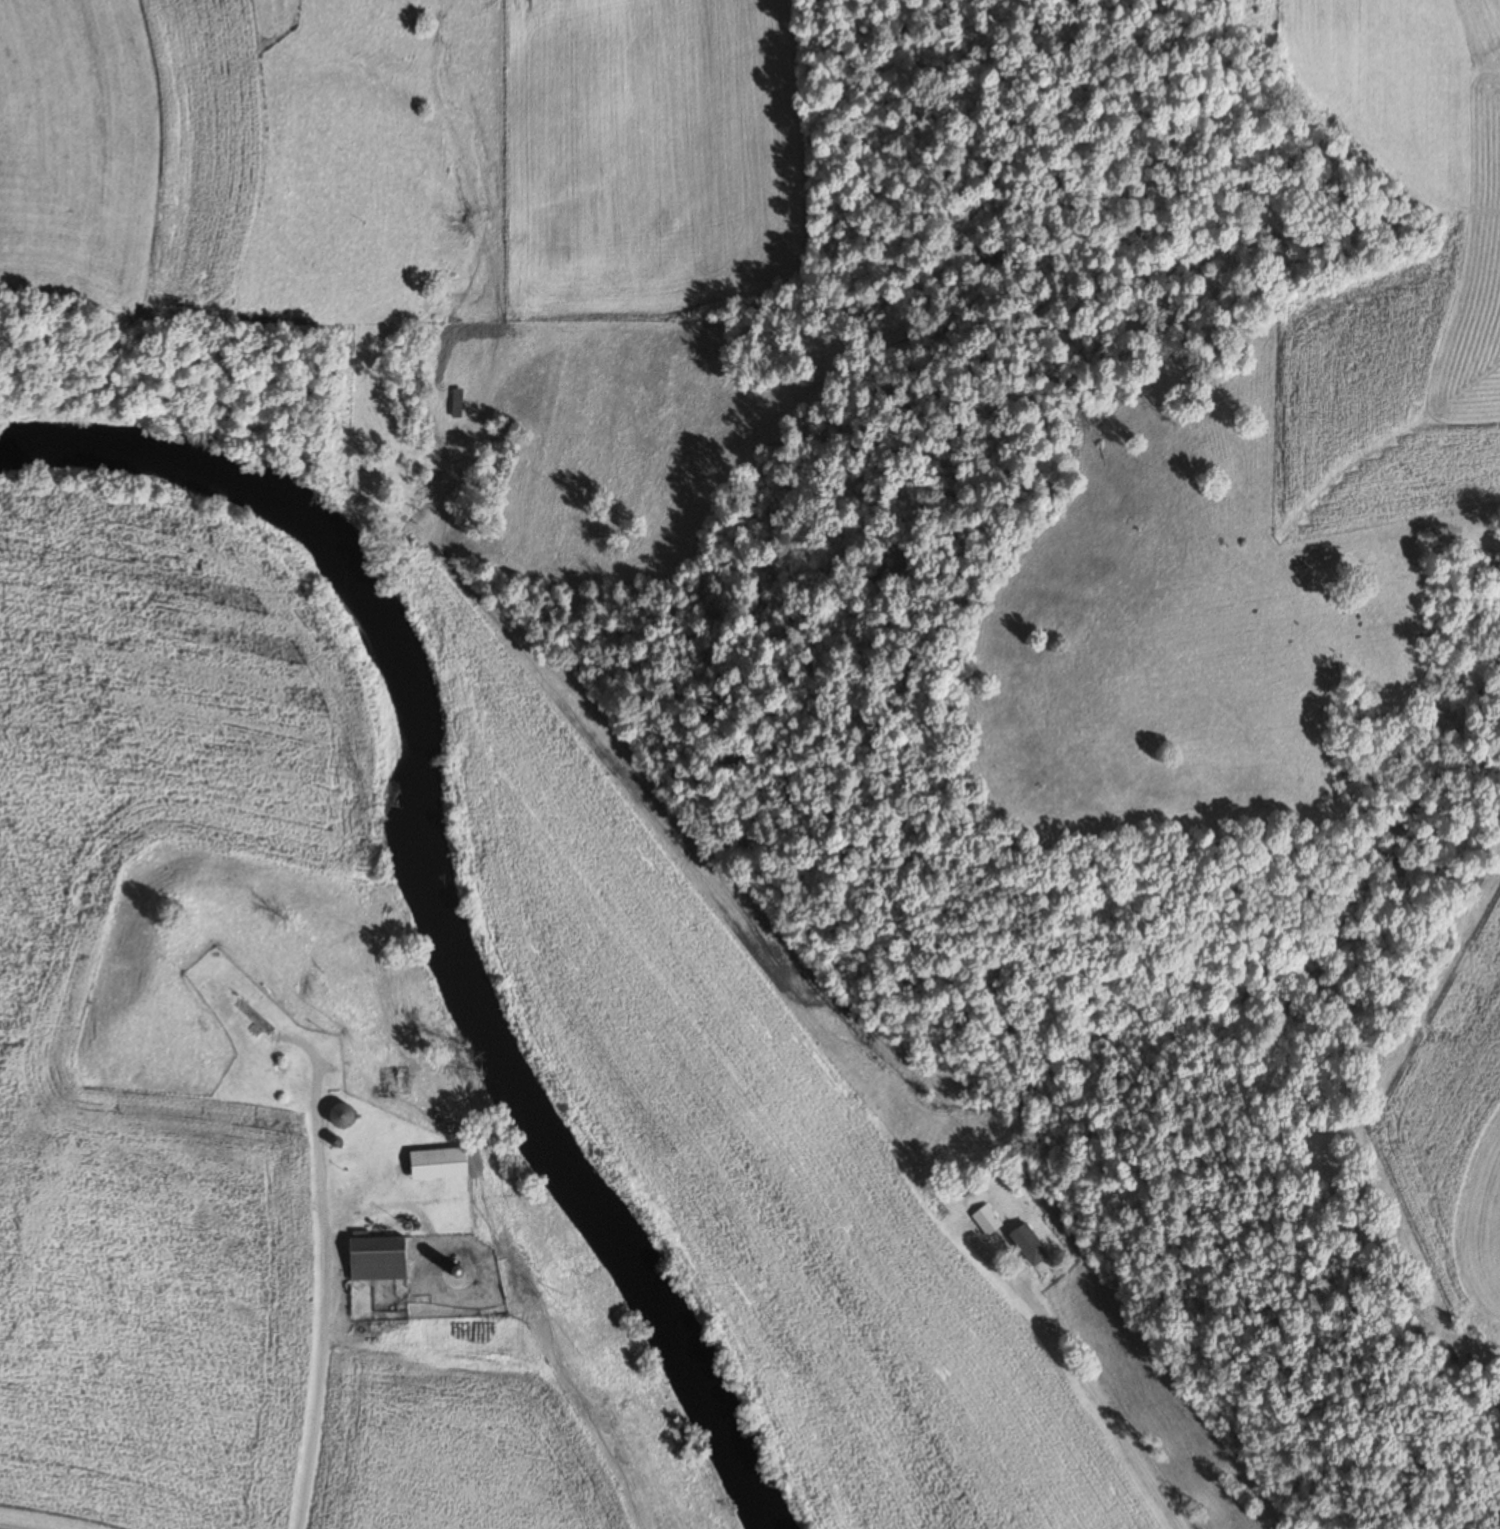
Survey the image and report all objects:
building: (456, 403)
river: (428, 892)
building: (252, 1016)
building: (338, 1114)
building: (435, 1163)
building: (963, 1185)
building: (985, 1219)
building: (1024, 1241)
building: (375, 1258)
road: (314, 1345)
road: (1073, 1372)

